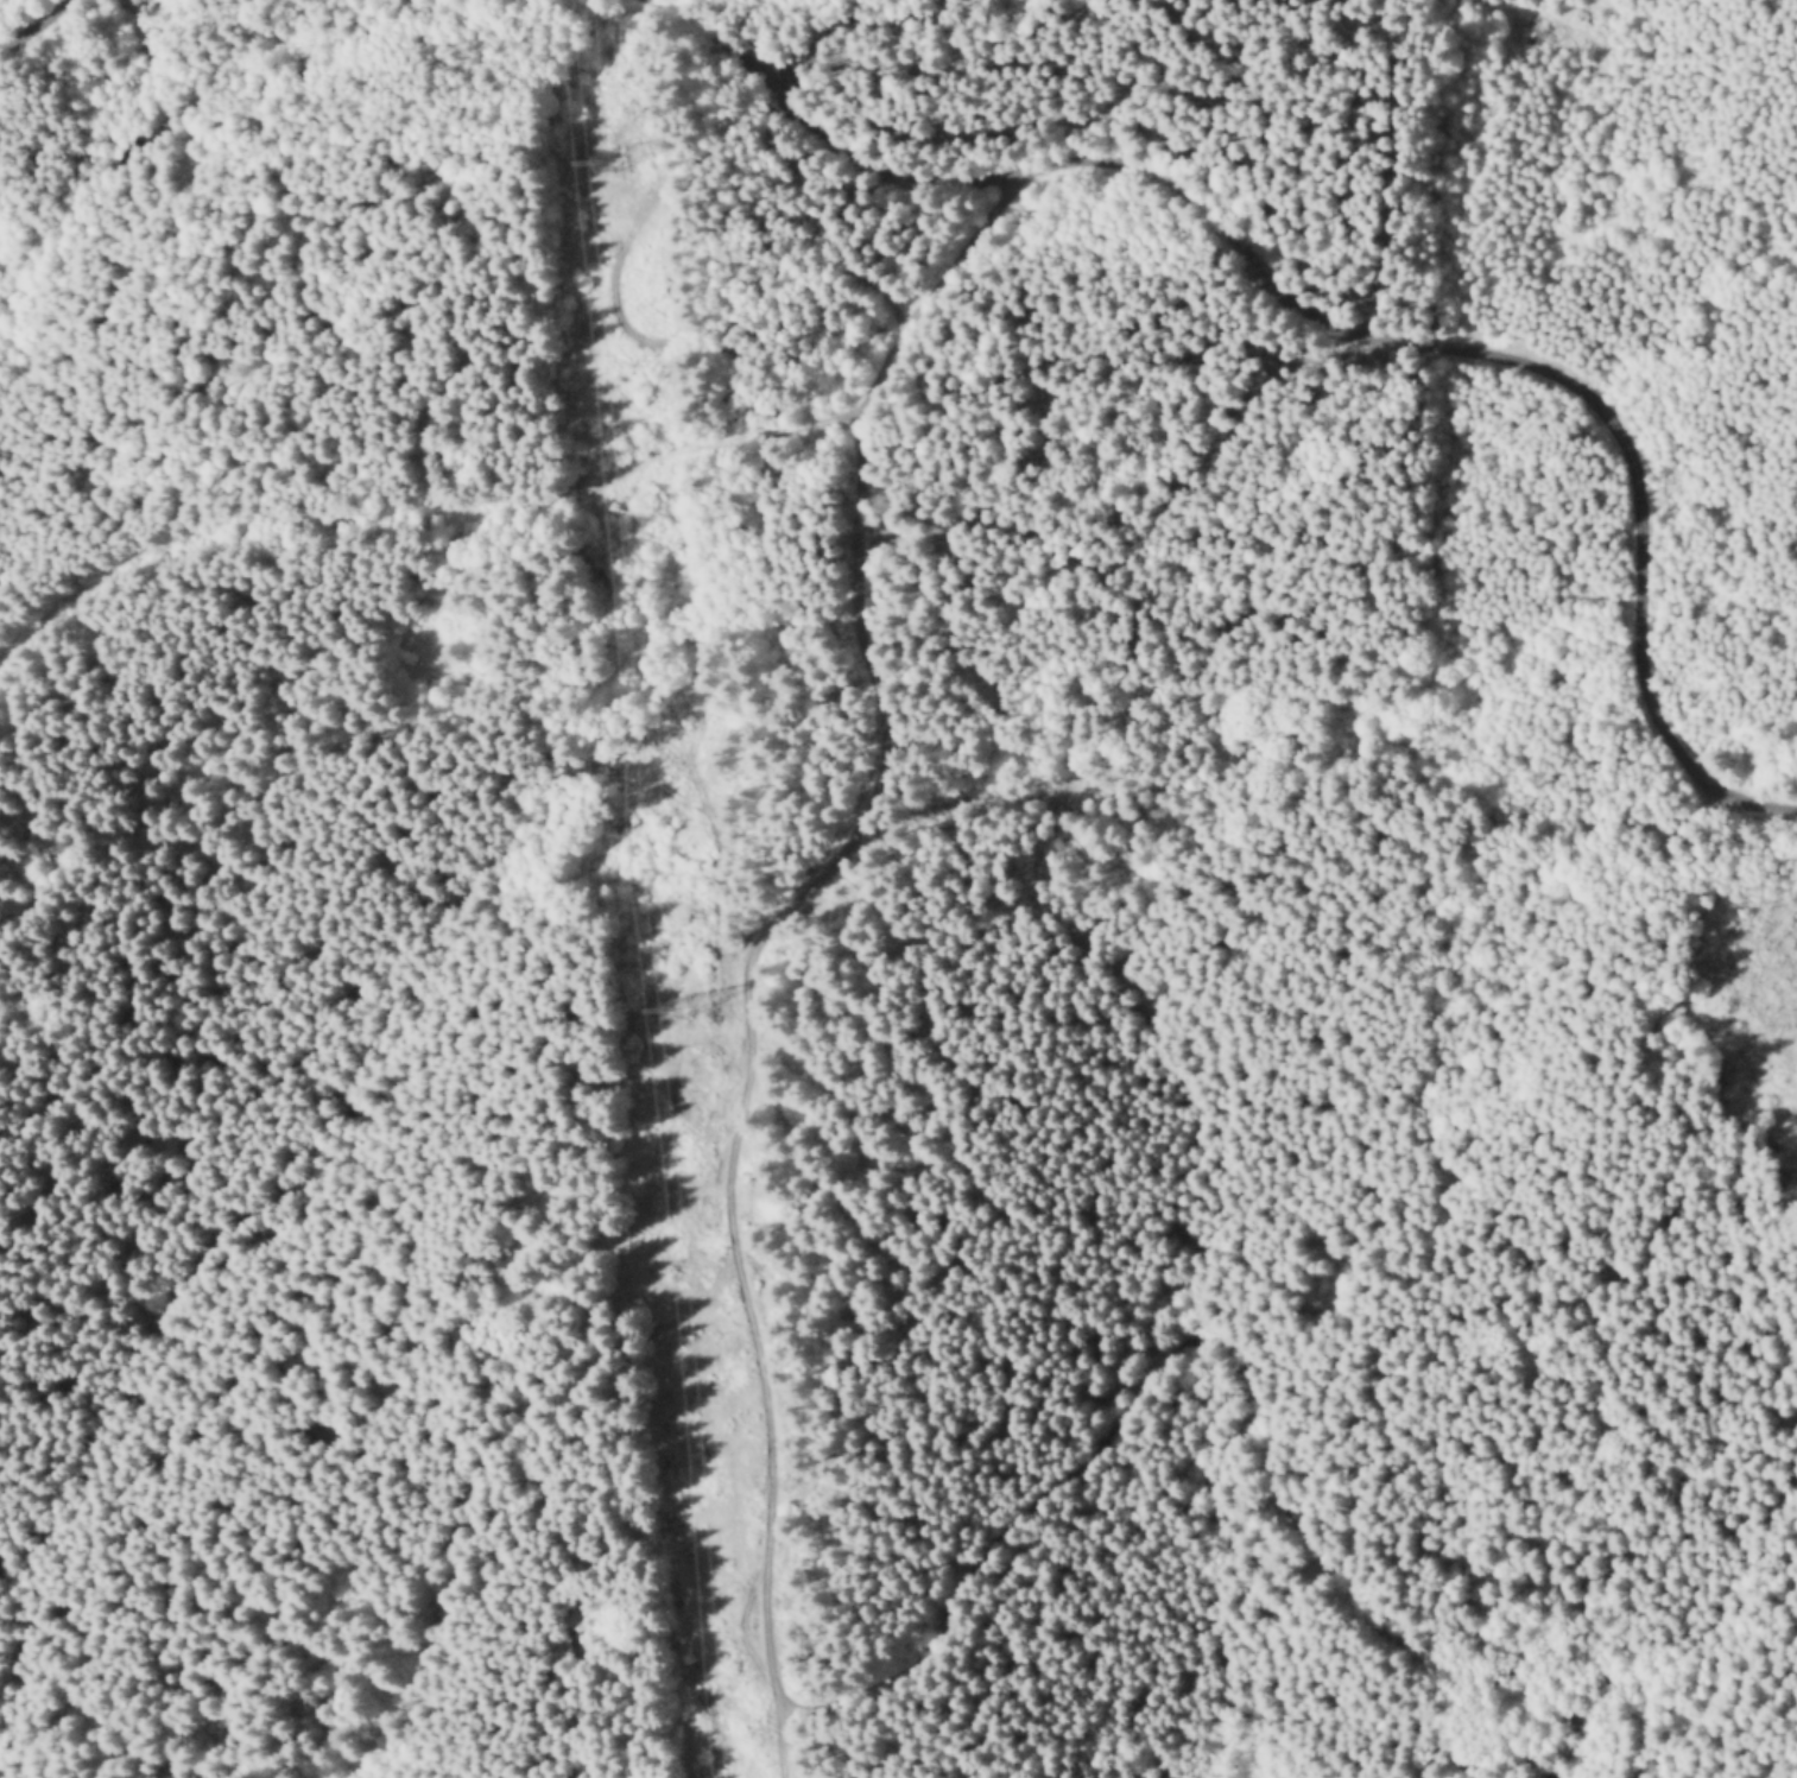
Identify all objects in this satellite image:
road: (46, 23)
power tower: (626, 163)
road: (1316, 324)
power tower: (700, 1019)

